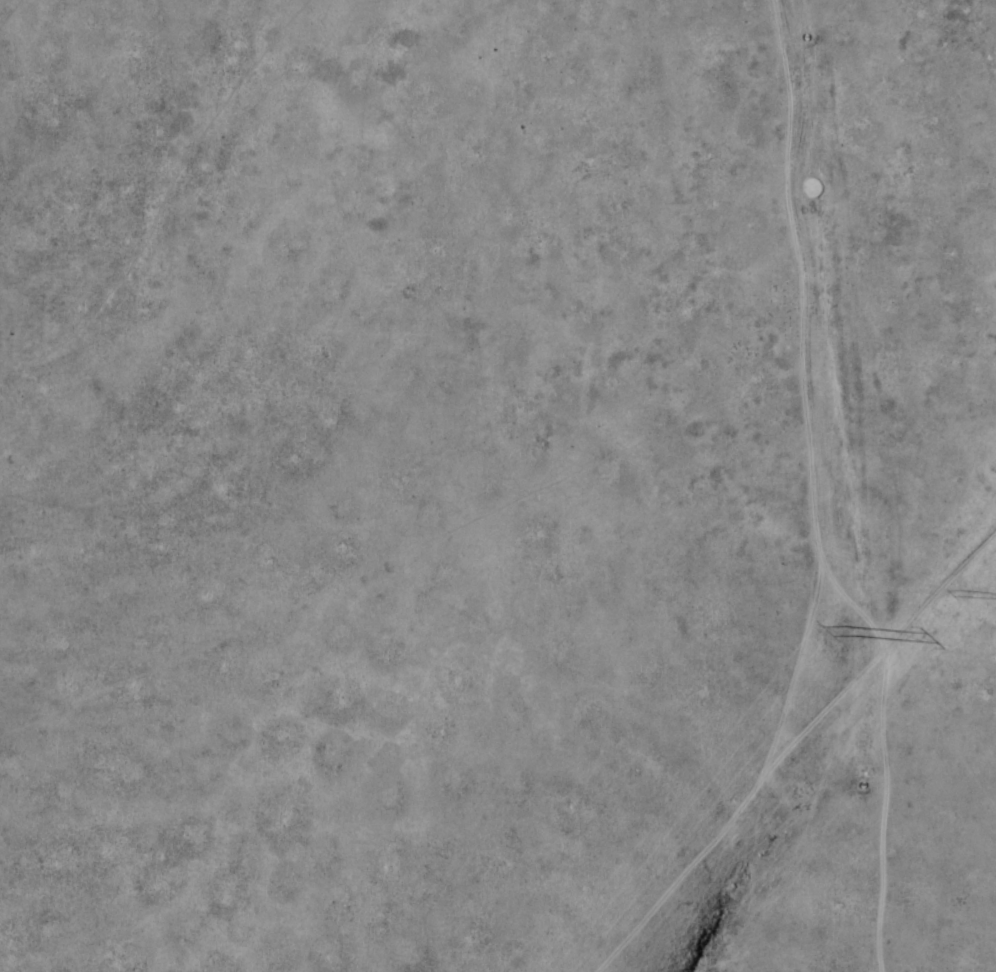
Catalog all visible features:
road: (805, 330)
road: (727, 515)
power tower: (961, 600)
power tower: (848, 635)
road: (882, 728)
road: (732, 811)

